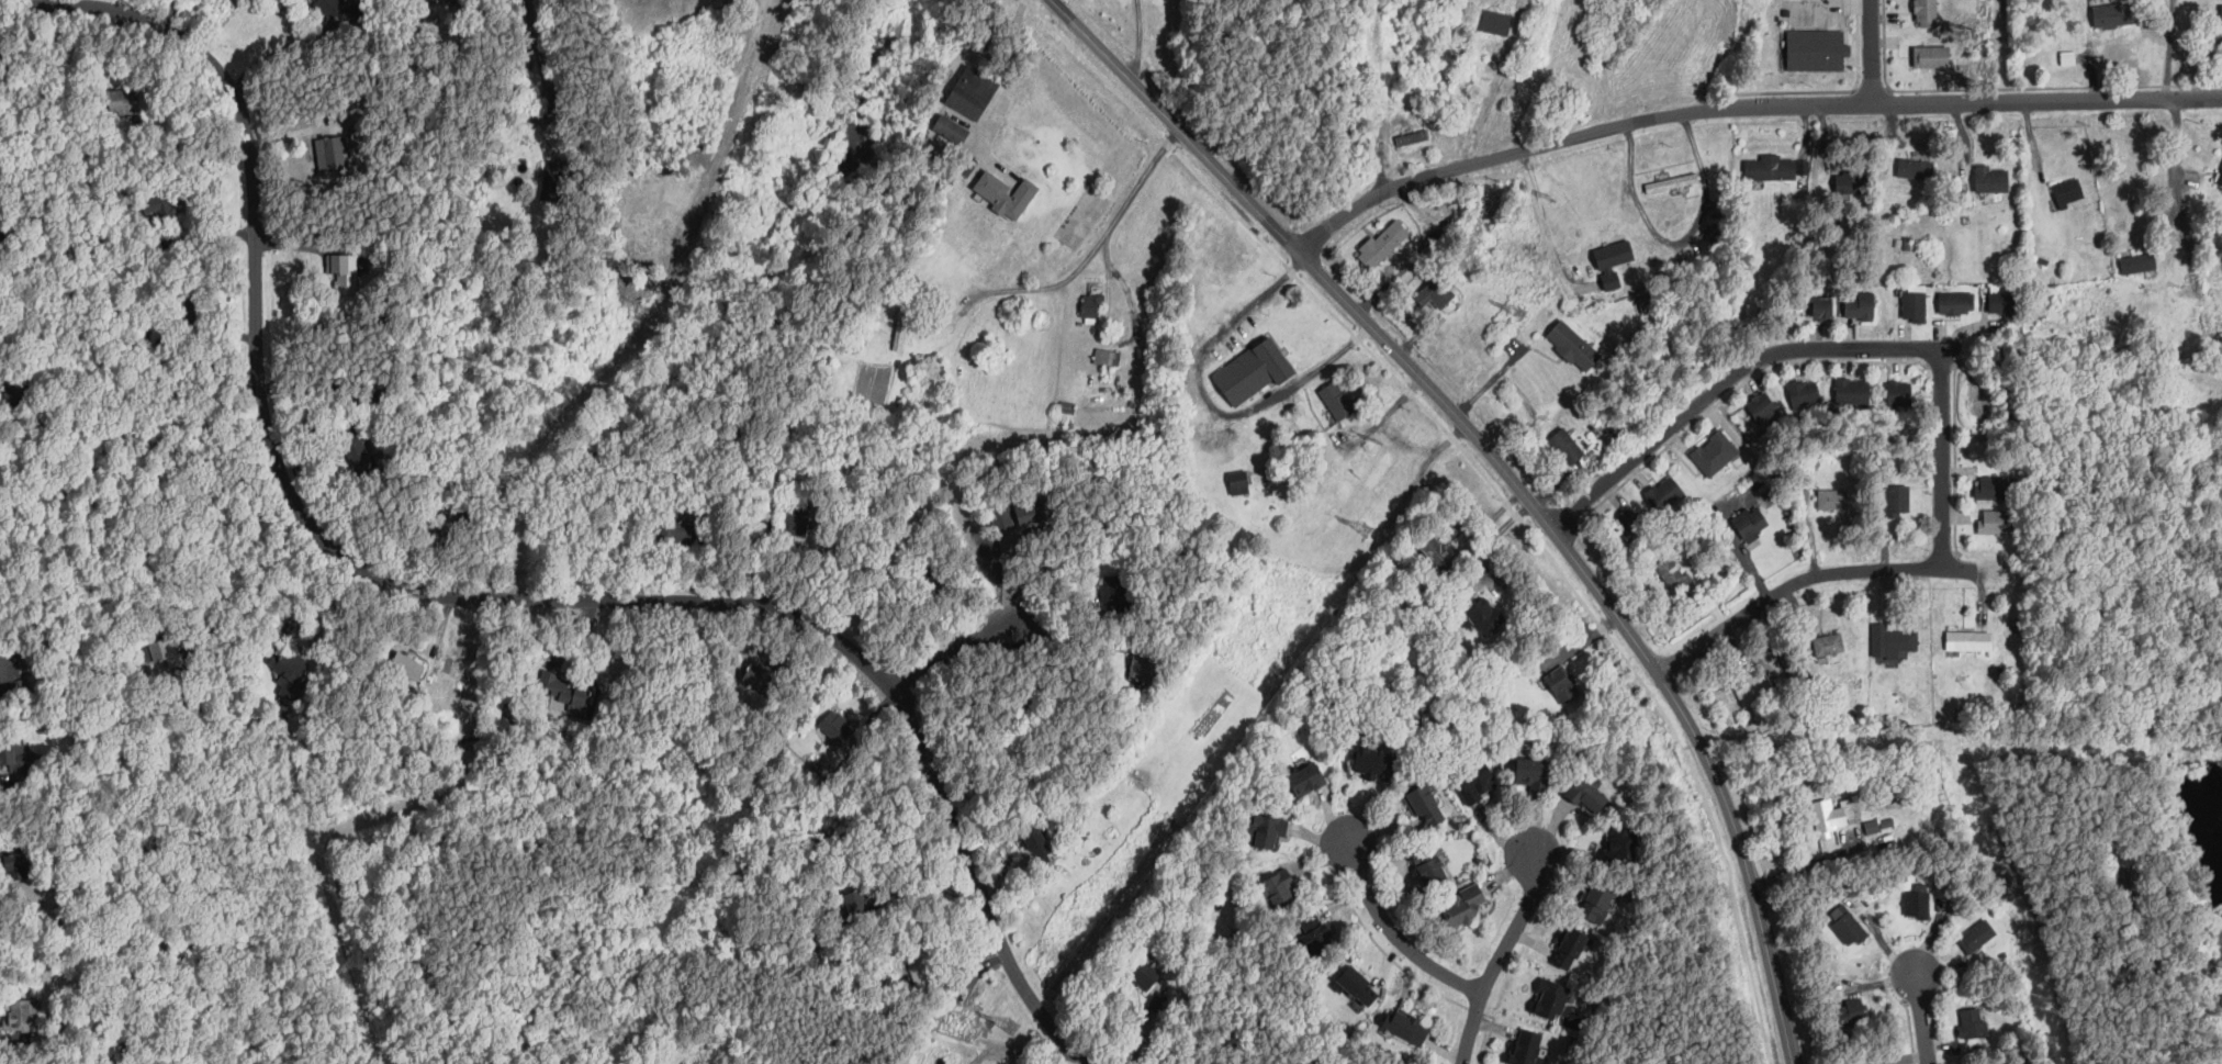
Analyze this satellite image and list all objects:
building: (478, 5)
building: (328, 7)
building: (2217, 7)
building: (1927, 11)
building: (2111, 15)
building: (2221, 15)
building: (461, 16)
building: (447, 18)
building: (1495, 18)
road: (536, 27)
building: (1813, 47)
road: (2169, 48)
road: (1867, 51)
building: (1928, 53)
road: (270, 54)
building: (2066, 56)
road: (1009, 77)
building: (790, 81)
building: (362, 90)
building: (974, 93)
building: (124, 101)
building: (1361, 101)
road: (1744, 105)
building: (357, 123)
building: (463, 124)
building: (1412, 137)
building: (2218, 139)
building: (1798, 142)
building: (332, 153)
building: (2081, 166)
building: (1771, 168)
building: (1915, 169)
road: (2181, 175)
building: (1987, 176)
building: (2219, 177)
building: (552, 181)
building: (1852, 182)
building: (1671, 183)
building: (1451, 191)
building: (2067, 192)
building: (1006, 194)
building: (1437, 194)
building: (1794, 198)
building: (1887, 203)
building: (161, 205)
building: (130, 212)
building: (1827, 220)
road: (1540, 222)
building: (1709, 232)
road: (1426, 240)
building: (1810, 240)
road: (1680, 242)
building: (1715, 242)
road: (1093, 244)
building: (1382, 245)
building: (380, 249)
road: (2, 261)
building: (2043, 261)
building: (2137, 262)
building: (344, 272)
building: (1436, 293)
road: (1368, 302)
building: (1954, 302)
building: (1914, 304)
building: (2001, 304)
building: (1860, 306)
building: (1090, 307)
building: (1642, 309)
building: (1820, 310)
power tower: (1519, 312)
building: (187, 313)
building: (871, 314)
building: (1080, 323)
building: (901, 327)
building: (2220, 336)
building: (1419, 341)
building: (190, 345)
building: (1539, 347)
building: (1572, 347)
building: (1108, 359)
building: (2182, 360)
building: (1252, 372)
building: (934, 374)
road: (1728, 374)
road: (1491, 379)
building: (1802, 392)
building: (1898, 392)
building: (15, 394)
building: (1853, 394)
building: (1337, 400)
road: (1210, 401)
building: (378, 402)
building: (1067, 406)
building: (1762, 410)
road: (1382, 418)
road: (1534, 418)
building: (1567, 446)
building: (1721, 448)
building: (1317, 450)
building: (357, 452)
building: (1707, 460)
building: (1817, 461)
road: (1945, 461)
road: (1485, 479)
road: (1507, 481)
building: (1238, 483)
building: (1995, 486)
building: (1665, 496)
building: (1803, 497)
building: (1832, 500)
building: (1897, 501)
building: (1043, 511)
building: (997, 516)
building: (707, 520)
building: (796, 522)
building: (1995, 522)
building: (1749, 524)
building: (1697, 525)
building: (1628, 526)
building: (445, 527)
building: (675, 531)
building: (1685, 531)
power tower: (1363, 534)
building: (1920, 539)
building: (1433, 549)
road: (1007, 571)
building: (925, 574)
road: (1807, 574)
building: (1674, 576)
road: (246, 578)
building: (1116, 593)
road: (464, 597)
building: (45, 614)
building: (1483, 616)
road: (1070, 639)
building: (1892, 641)
building: (1969, 641)
building: (1828, 643)
road: (953, 648)
building: (166, 652)
building: (1787, 664)
building: (407, 665)
building: (12, 671)
building: (1140, 671)
building: (291, 673)
building: (757, 675)
building: (1393, 675)
building: (1562, 684)
building: (568, 692)
building: (1753, 693)
building: (1502, 696)
building: (422, 701)
building: (1823, 704)
building: (1791, 705)
building: (1026, 707)
building: (627, 712)
building: (280, 713)
building: (1736, 715)
building: (1963, 715)
building: (1805, 718)
building: (1873, 719)
building: (1896, 719)
building: (617, 727)
building: (837, 727)
building: (11, 749)
building: (1371, 764)
building: (817, 768)
building: (1531, 774)
building: (1305, 780)
building: (1475, 782)
building: (1586, 795)
building: (1424, 804)
building: (1026, 811)
building: (1823, 816)
building: (1269, 831)
building: (1037, 839)
building: (1874, 844)
building: (1619, 847)
building: (15, 864)
building: (1428, 865)
building: (1940, 866)
building: (2125, 881)
building: (1279, 889)
building: (1596, 901)
building: (1918, 903)
building: (857, 905)
building: (1462, 905)
building: (1820, 925)
building: (1255, 926)
building: (1850, 929)
building: (1315, 934)
road: (1396, 937)
building: (1977, 937)
building: (2189, 940)
building: (1569, 948)
road: (1497, 957)
building: (2005, 962)
building: (920, 964)
road: (1403, 970)
building: (1143, 974)
building: (884, 985)
building: (1356, 985)
building: (1550, 999)
building: (1157, 1001)
building: (2008, 1006)
building: (1850, 1013)
building: (21, 1016)
road: (1922, 1018)
building: (1973, 1024)
power tower: (1011, 1028)
building: (1406, 1028)
building: (1836, 1043)
building: (1527, 1049)

